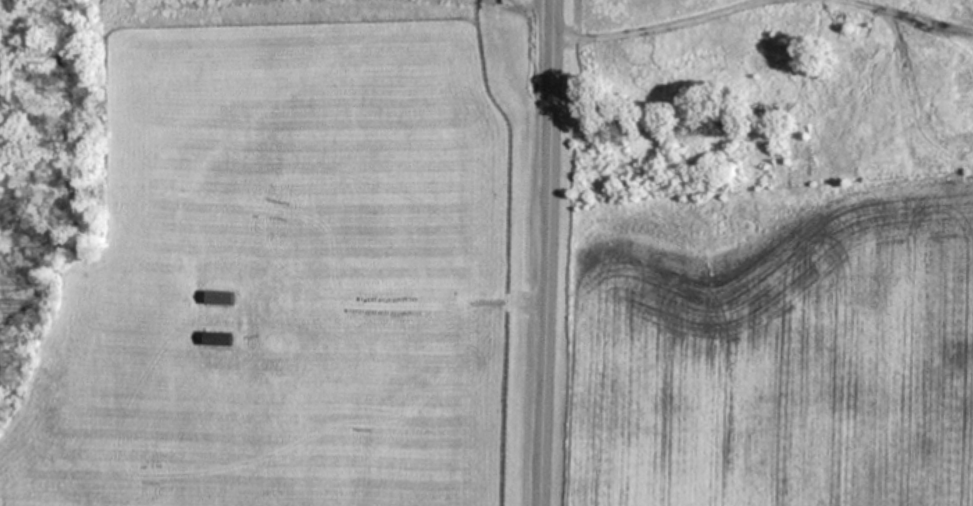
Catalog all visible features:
road: (548, 253)
crop: (515, 258)
building: (221, 300)
building: (220, 341)

